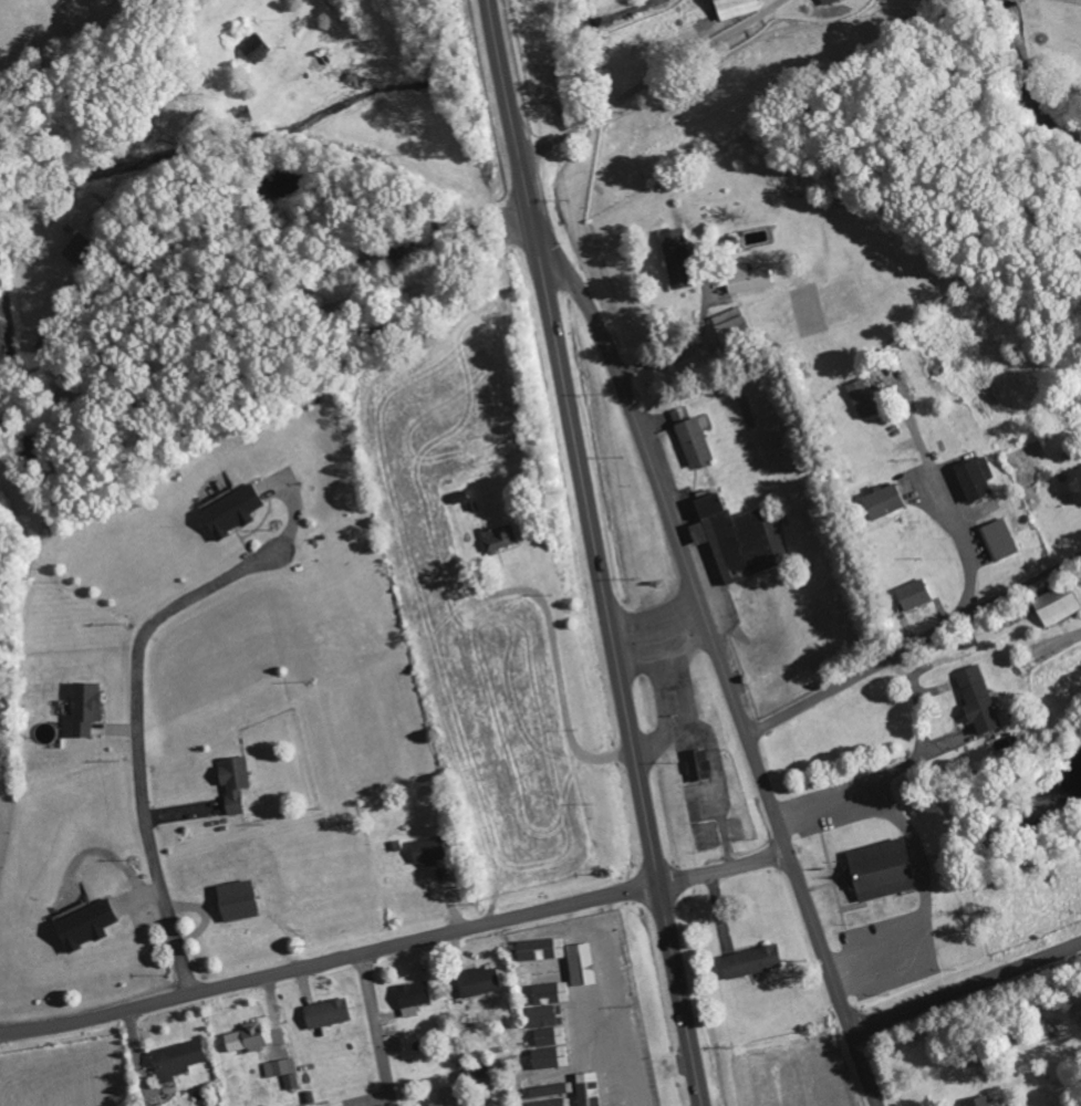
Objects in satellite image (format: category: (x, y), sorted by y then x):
building: (828, 1)
building: (736, 8)
building: (256, 50)
road: (509, 105)
building: (79, 249)
building: (678, 258)
building: (748, 279)
building: (731, 326)
building: (862, 398)
building: (695, 444)
building: (975, 478)
building: (883, 501)
building: (232, 512)
road: (674, 526)
building: (500, 538)
building: (741, 538)
building: (1000, 539)
road: (595, 546)
building: (914, 595)
building: (1058, 603)
building: (980, 701)
building: (86, 708)
road: (138, 733)
building: (698, 764)
building: (235, 783)
building: (429, 851)
road: (725, 870)
building: (882, 870)
building: (239, 901)
building: (86, 926)
road: (821, 945)
building: (543, 948)
road: (330, 957)
building: (752, 961)
building: (543, 973)
building: (479, 982)
road: (966, 989)
road: (680, 995)
building: (414, 998)
building: (544, 1006)
building: (328, 1014)
road: (376, 1027)
building: (247, 1037)
building: (553, 1037)
building: (179, 1060)
building: (552, 1060)
road: (864, 1070)
building: (284, 1072)
building: (551, 1083)
building: (445, 1098)
building: (979, 1102)
building: (550, 1103)
building: (622, 1105)

